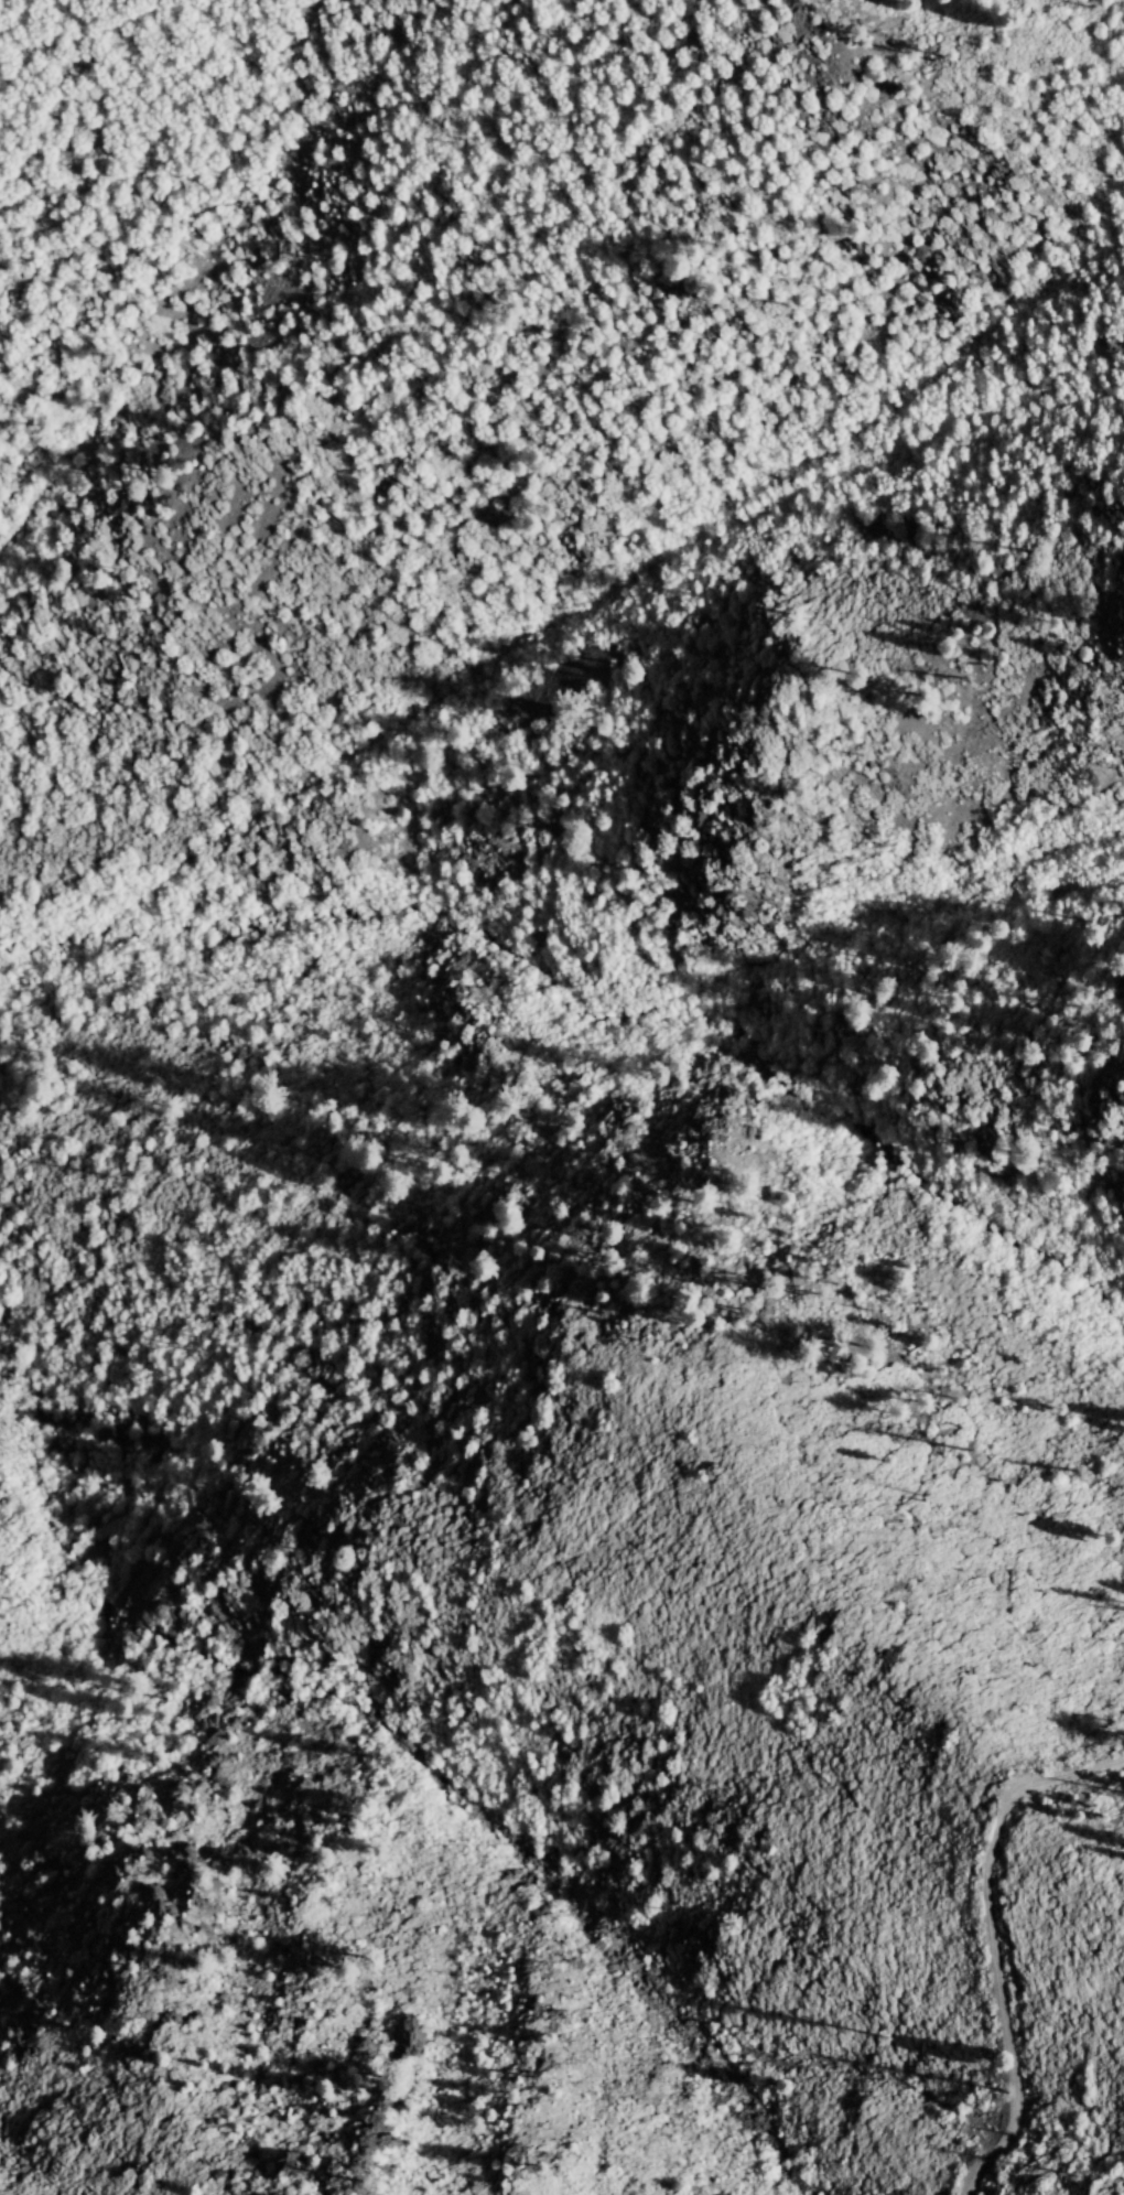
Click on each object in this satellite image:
road: (944, 1927)

